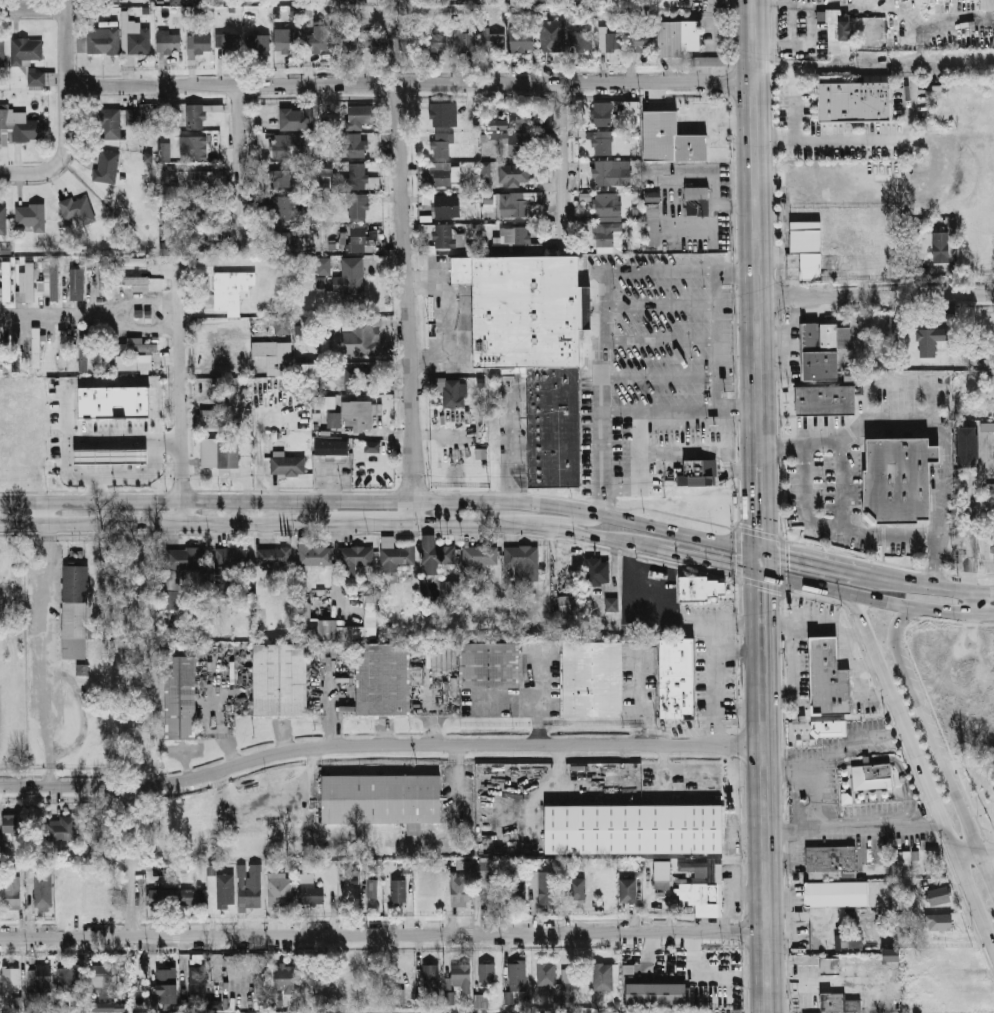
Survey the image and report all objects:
building: (471, 0)
building: (543, 0)
building: (110, 1)
building: (186, 2)
building: (665, 3)
road: (801, 3)
building: (987, 5)
road: (32, 6)
road: (938, 24)
building: (839, 32)
building: (134, 36)
building: (551, 36)
building: (490, 38)
building: (678, 38)
building: (521, 39)
building: (375, 40)
building: (580, 40)
building: (641, 40)
building: (169, 41)
building: (318, 41)
building: (410, 41)
building: (609, 41)
building: (99, 42)
building: (465, 42)
road: (66, 43)
building: (258, 43)
building: (289, 43)
building: (199, 44)
building: (348, 44)
building: (227, 45)
building: (438, 45)
building: (26, 51)
building: (3, 52)
building: (710, 61)
building: (42, 78)
road: (531, 81)
building: (855, 102)
road: (793, 106)
building: (630, 113)
building: (199, 114)
building: (603, 114)
building: (441, 115)
building: (134, 116)
building: (265, 116)
building: (361, 116)
building: (296, 118)
building: (513, 118)
building: (331, 121)
building: (109, 124)
building: (498, 125)
building: (19, 127)
road: (864, 137)
building: (671, 139)
building: (602, 143)
building: (515, 144)
building: (197, 145)
building: (282, 145)
building: (356, 145)
building: (443, 145)
building: (165, 151)
road: (62, 154)
road: (563, 161)
building: (111, 167)
road: (241, 167)
building: (486, 169)
building: (607, 173)
building: (442, 174)
building: (515, 175)
building: (277, 177)
building: (360, 178)
building: (198, 179)
road: (882, 181)
building: (171, 187)
building: (652, 196)
building: (698, 201)
building: (516, 205)
building: (359, 206)
building: (608, 206)
building: (281, 207)
building: (445, 207)
building: (78, 210)
building: (201, 210)
building: (314, 210)
building: (31, 217)
building: (3, 219)
building: (653, 227)
road: (758, 231)
building: (604, 234)
building: (446, 237)
building: (513, 237)
building: (199, 239)
building: (281, 240)
building: (359, 240)
building: (167, 243)
building: (807, 247)
building: (940, 247)
building: (5, 250)
building: (129, 261)
building: (323, 266)
building: (351, 278)
building: (100, 279)
building: (7, 281)
building: (50, 281)
building: (28, 282)
building: (134, 282)
building: (320, 282)
building: (77, 285)
street lamp: (703, 285)
street lamp: (613, 287)
building: (231, 290)
road: (876, 294)
road: (137, 295)
road: (409, 301)
road: (50, 312)
building: (528, 313)
road: (602, 313)
road: (446, 322)
building: (283, 327)
road: (136, 330)
building: (360, 340)
road: (707, 340)
building: (929, 340)
road: (655, 341)
building: (138, 346)
building: (36, 347)
building: (63, 348)
building: (16, 350)
building: (823, 350)
building: (85, 351)
building: (275, 355)
street lamp: (687, 356)
street lamp: (614, 358)
building: (135, 365)
building: (310, 370)
building: (353, 377)
road: (900, 382)
parking lot: (947, 391)
building: (453, 393)
street lamp: (873, 397)
street lamp: (920, 398)
building: (826, 400)
parking lot: (900, 400)
building: (114, 401)
building: (324, 402)
road: (682, 407)
road: (179, 409)
building: (358, 416)
street lamp: (705, 418)
street lamp: (620, 419)
building: (216, 421)
parking lot: (825, 423)
building: (554, 427)
road: (723, 428)
road: (887, 429)
parking lot: (122, 430)
road: (936, 437)
road: (941, 437)
building: (372, 446)
road: (123, 447)
building: (330, 447)
building: (969, 447)
road: (709, 450)
street lamp: (822, 451)
building: (206, 452)
building: (229, 453)
road: (936, 453)
building: (937, 453)
road: (942, 453)
building: (110, 460)
gas station: (110, 460)
road: (67, 463)
road: (156, 463)
building: (289, 465)
road: (641, 465)
building: (701, 468)
road: (940, 473)
parking lot: (855, 478)
road: (937, 479)
road: (111, 480)
building: (899, 480)
street lamp: (822, 481)
parking lot: (823, 483)
road: (97, 490)
parking lot: (792, 493)
road: (842, 496)
road: (298, 498)
road: (762, 505)
road: (42, 513)
street lamp: (821, 513)
road: (516, 517)
road: (365, 520)
road: (247, 521)
road: (576, 521)
road: (131, 523)
road: (41, 524)
road: (536, 525)
traffic signals: (762, 525)
road: (939, 527)
road: (679, 530)
road: (45, 534)
road: (501, 534)
road: (969, 538)
parking lot: (840, 541)
building: (993, 545)
street lamp: (923, 548)
street lamp: (877, 550)
parking lot: (901, 550)
building: (272, 553)
building: (313, 553)
building: (396, 555)
building: (437, 555)
traffic signals: (788, 555)
building: (478, 558)
road: (708, 558)
building: (186, 559)
building: (355, 559)
road: (762, 560)
building: (231, 561)
building: (524, 561)
road: (816, 562)
traffic signals: (732, 563)
road: (930, 565)
road: (937, 565)
building: (599, 572)
road: (932, 586)
building: (452, 588)
building: (700, 589)
traffic signals: (763, 591)
road: (657, 596)
road: (877, 600)
road: (975, 602)
parking lot: (38, 604)
building: (611, 604)
building: (564, 607)
building: (371, 608)
building: (73, 610)
road: (763, 610)
road: (738, 623)
road: (814, 627)
building: (309, 628)
road: (738, 652)
road: (896, 654)
road: (49, 664)
road: (865, 664)
building: (490, 666)
road: (791, 673)
road: (856, 676)
building: (384, 679)
building: (594, 679)
building: (678, 679)
building: (829, 679)
building: (281, 680)
road: (712, 685)
building: (181, 699)
road: (589, 718)
road: (923, 721)
building: (828, 728)
road: (942, 736)
road: (380, 743)
road: (826, 752)
road: (922, 770)
road: (944, 770)
road: (794, 776)
building: (873, 777)
road: (904, 777)
road: (918, 791)
building: (383, 800)
building: (13, 825)
road: (857, 827)
building: (62, 829)
building: (635, 830)
road: (769, 830)
road: (975, 847)
road: (974, 851)
building: (92, 854)
building: (832, 859)
road: (131, 861)
building: (485, 870)
building: (664, 875)
building: (547, 885)
building: (251, 886)
building: (372, 888)
building: (518, 889)
building: (578, 890)
building: (705, 890)
building: (226, 891)
building: (629, 891)
building: (44, 892)
building: (281, 892)
building: (460, 892)
building: (13, 893)
building: (399, 893)
building: (312, 894)
building: (837, 894)
building: (939, 896)
building: (194, 897)
building: (162, 902)
road: (803, 913)
building: (938, 921)
road: (384, 933)
building: (847, 940)
building: (890, 955)
building: (828, 965)
building: (487, 974)
building: (462, 977)
building: (604, 977)
building: (43, 978)
building: (101, 978)
building: (286, 978)
building: (69, 979)
building: (12, 980)
building: (198, 982)
building: (517, 983)
building: (558, 983)
building: (430, 984)
building: (168, 985)
building: (405, 985)
road: (821, 988)
building: (653, 993)
building: (395, 997)
building: (449, 997)
building: (481, 1001)
building: (837, 1003)
building: (213, 1004)
building: (108, 1008)

